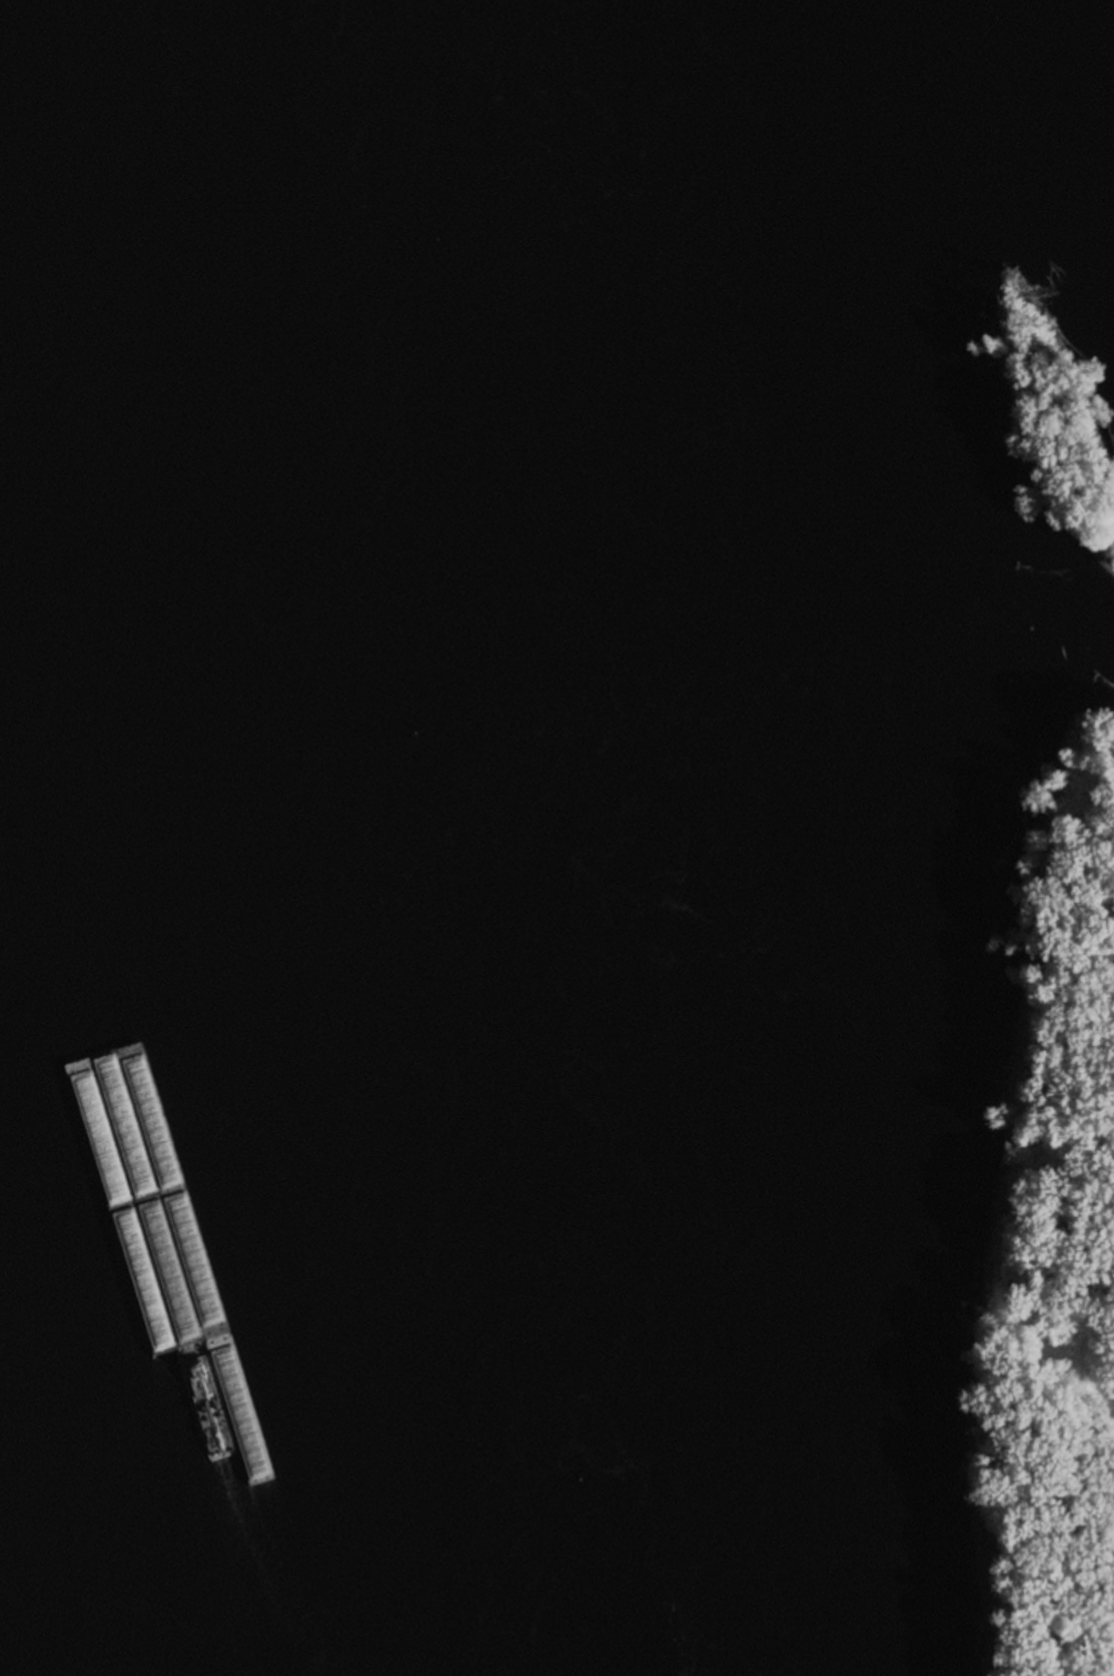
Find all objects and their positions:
river: (129, 903)

